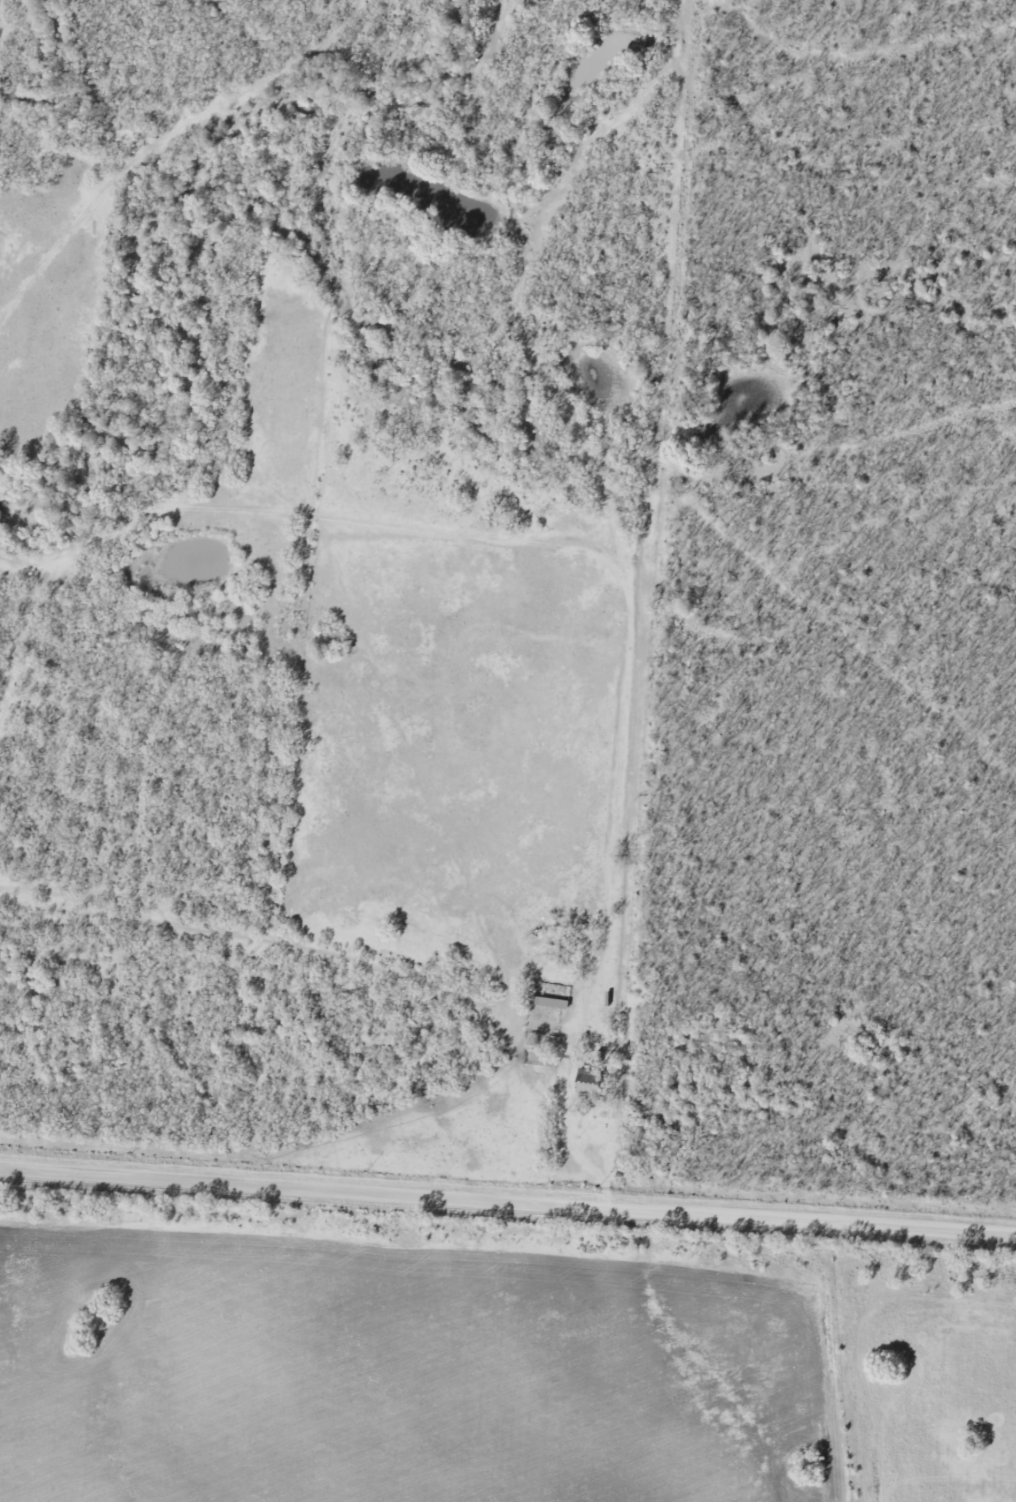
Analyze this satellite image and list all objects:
road: (508, 1206)

